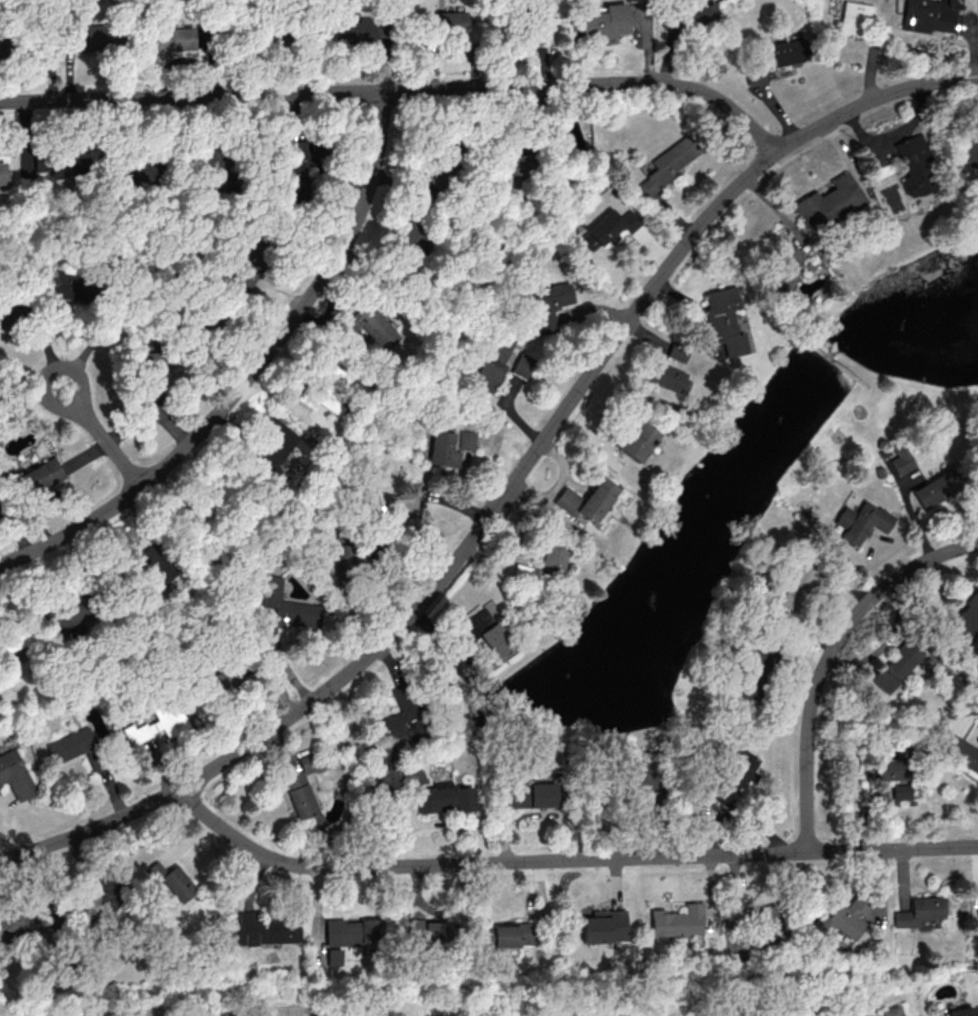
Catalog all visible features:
building: (698, 13)
building: (929, 15)
building: (854, 17)
building: (453, 21)
building: (604, 22)
building: (349, 32)
building: (169, 38)
building: (89, 40)
building: (785, 52)
building: (757, 75)
road: (399, 90)
road: (894, 136)
building: (970, 145)
building: (298, 157)
building: (55, 164)
building: (669, 164)
building: (915, 165)
building: (130, 172)
building: (2, 173)
building: (828, 202)
building: (608, 227)
building: (782, 269)
building: (245, 270)
building: (61, 284)
building: (551, 305)
building: (723, 319)
building: (370, 326)
road: (822, 343)
road: (94, 344)
building: (676, 350)
road: (833, 351)
building: (494, 361)
building: (523, 365)
road: (856, 368)
road: (248, 372)
building: (668, 377)
building: (327, 389)
road: (103, 437)
building: (466, 440)
building: (638, 440)
building: (272, 445)
building: (444, 449)
building: (901, 459)
building: (38, 476)
road: (511, 486)
building: (936, 489)
building: (587, 500)
building: (399, 502)
building: (861, 522)
building: (345, 554)
building: (546, 562)
building: (154, 563)
building: (797, 587)
building: (285, 608)
building: (72, 612)
building: (968, 619)
building: (485, 632)
building: (12, 637)
road: (827, 659)
building: (897, 665)
building: (754, 674)
building: (225, 676)
building: (401, 717)
building: (158, 722)
building: (76, 747)
building: (963, 753)
building: (310, 763)
building: (891, 768)
building: (638, 773)
building: (14, 774)
building: (733, 778)
building: (901, 792)
building: (298, 794)
building: (533, 794)
building: (444, 798)
road: (564, 860)
building: (171, 879)
building: (101, 905)
building: (977, 909)
building: (919, 911)
building: (840, 919)
building: (677, 921)
building: (770, 921)
building: (22, 925)
building: (603, 926)
building: (264, 929)
building: (353, 931)
building: (508, 934)
building: (334, 956)
building: (964, 1011)
building: (895, 1012)
building: (64, 1014)

